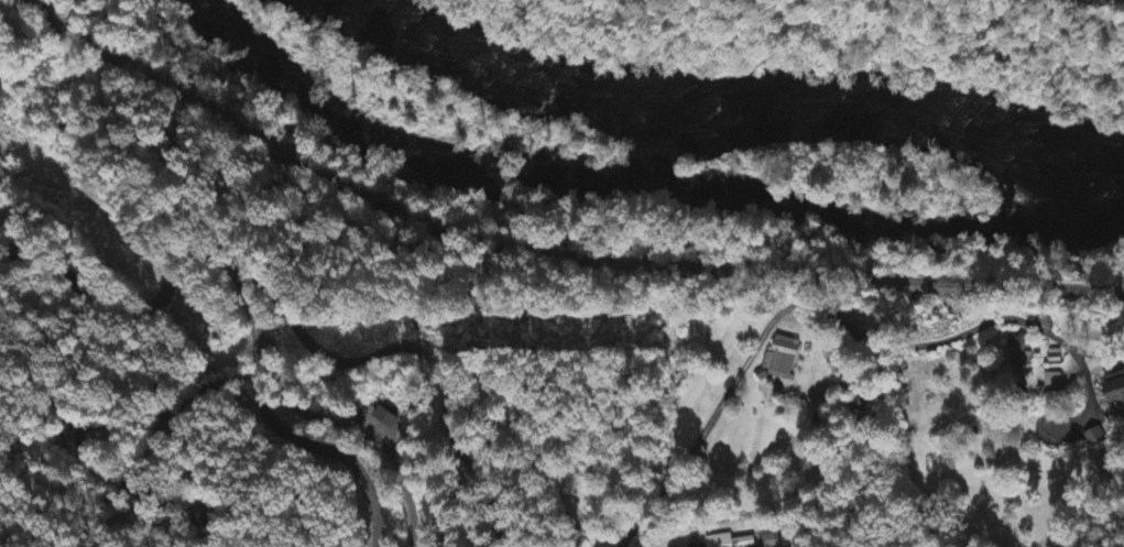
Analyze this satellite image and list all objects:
river: (522, 26)
river: (854, 100)
railway: (556, 254)
road: (805, 302)
road: (286, 310)
building: (1021, 352)
building: (785, 360)
building: (1122, 382)
building: (1052, 384)
building: (386, 418)
road: (276, 423)
building: (1093, 439)
building: (771, 539)
building: (730, 541)
building: (694, 545)

